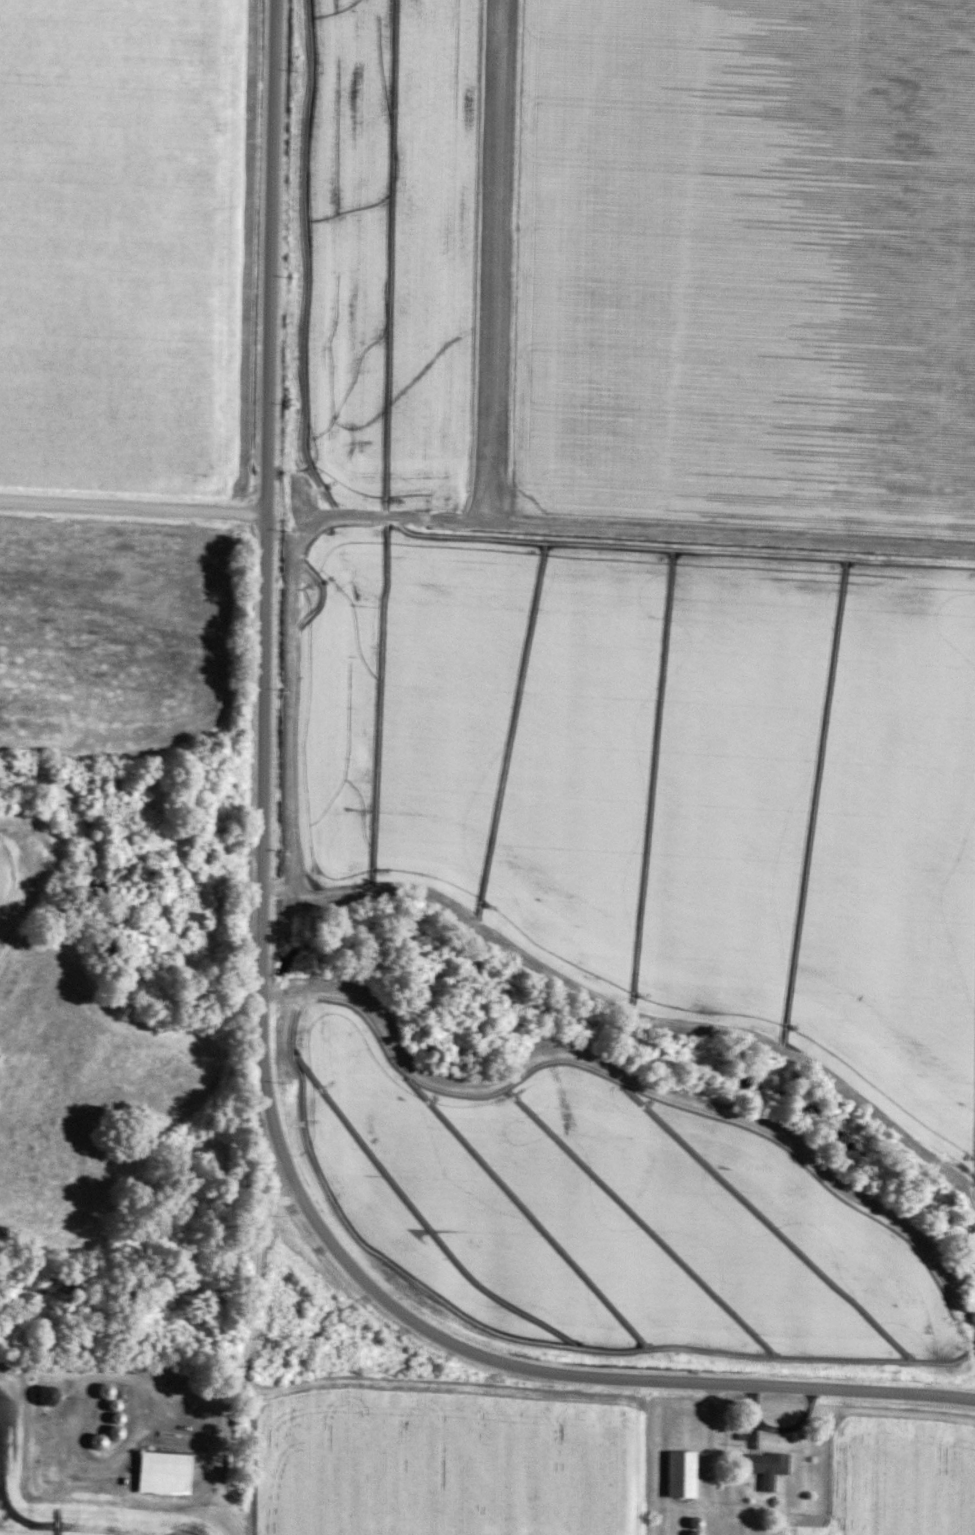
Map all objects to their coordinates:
airport runway: (492, 255)
road: (132, 506)
building: (198, 853)
road: (261, 974)
building: (98, 1392)
building: (41, 1395)
building: (98, 1437)
building: (761, 1467)
building: (157, 1472)
building: (675, 1474)

